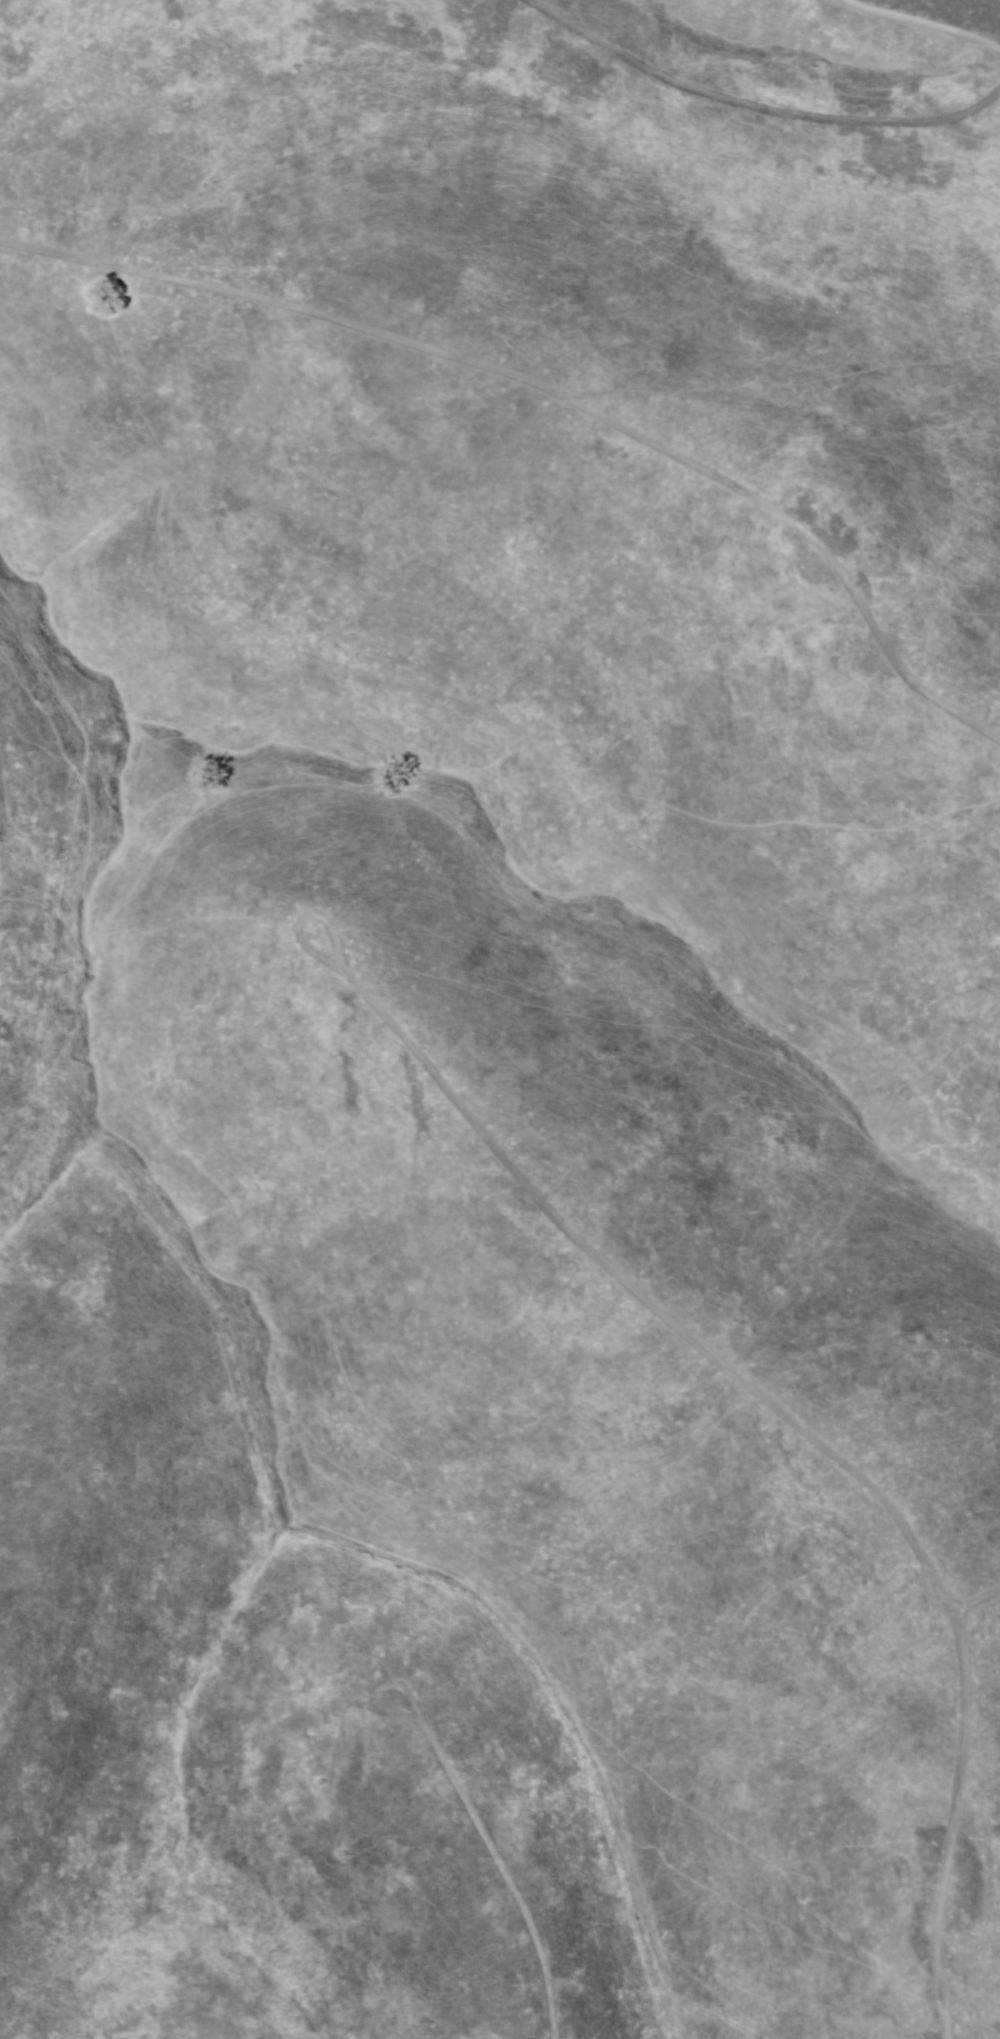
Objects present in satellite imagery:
road: (922, 22)
road: (753, 109)
road: (555, 393)
road: (305, 919)
road: (811, 1432)
road: (978, 1603)
road: (379, 1686)
road: (508, 1875)

